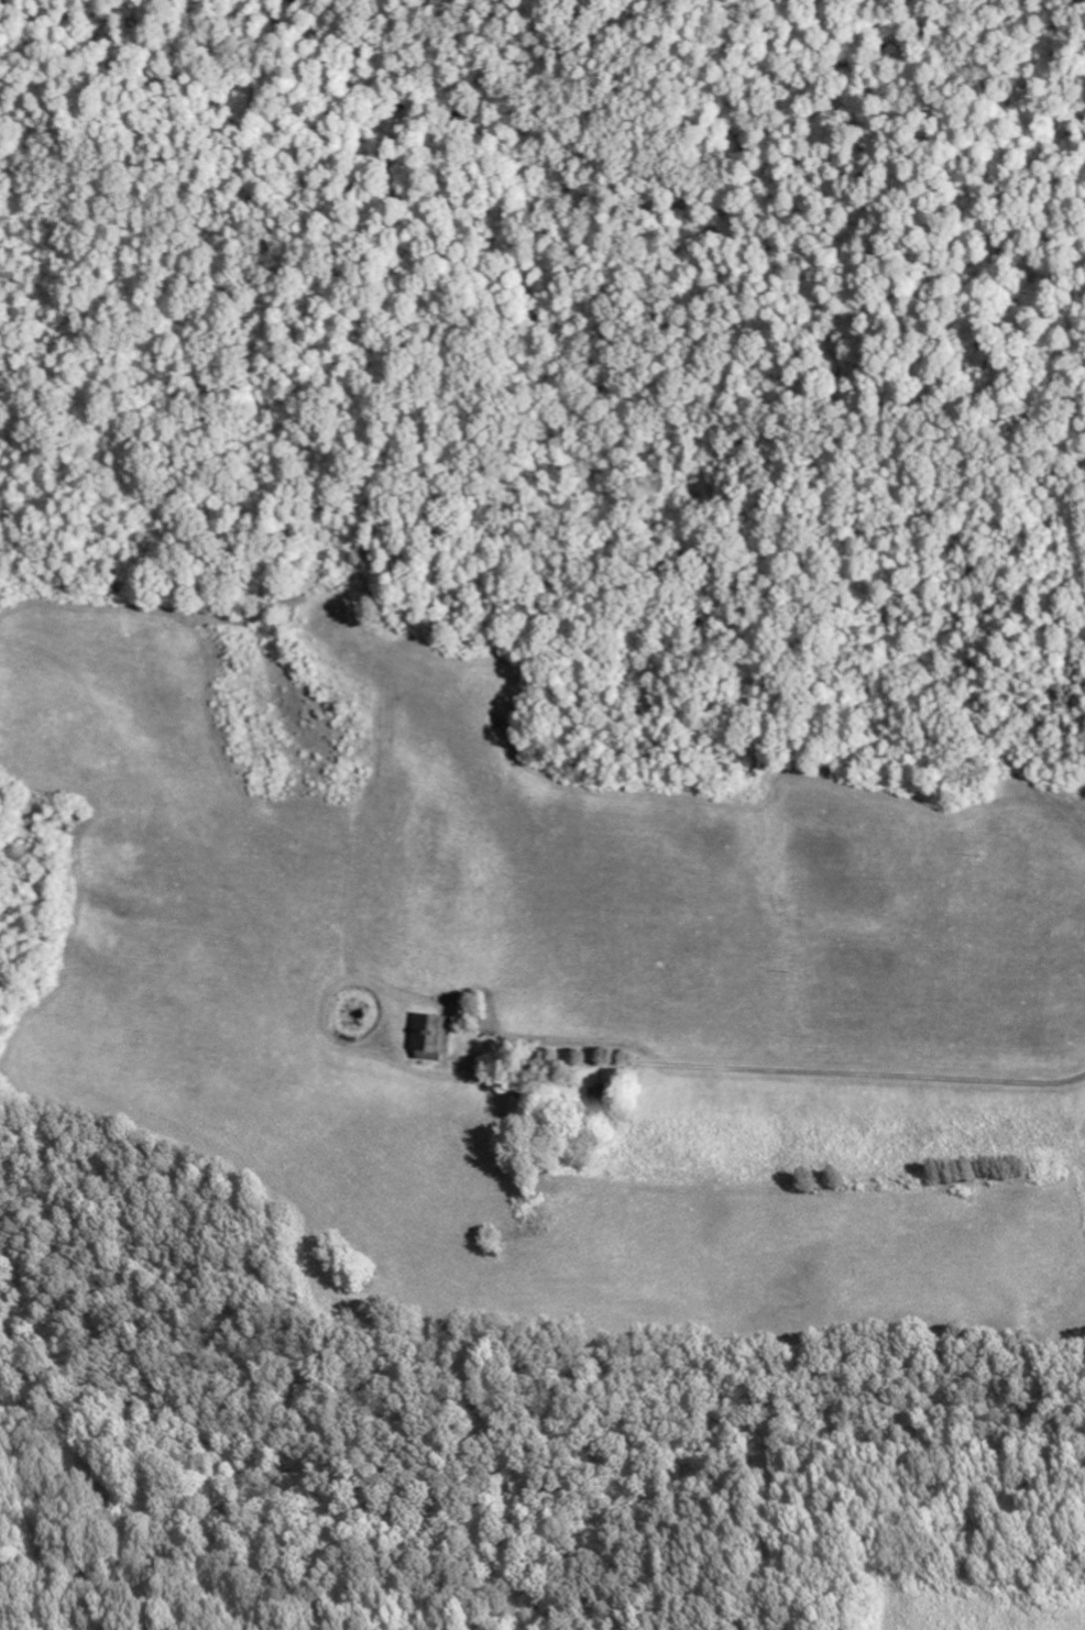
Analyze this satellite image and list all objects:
building: (434, 1038)
road: (819, 1071)
building: (602, 1101)

